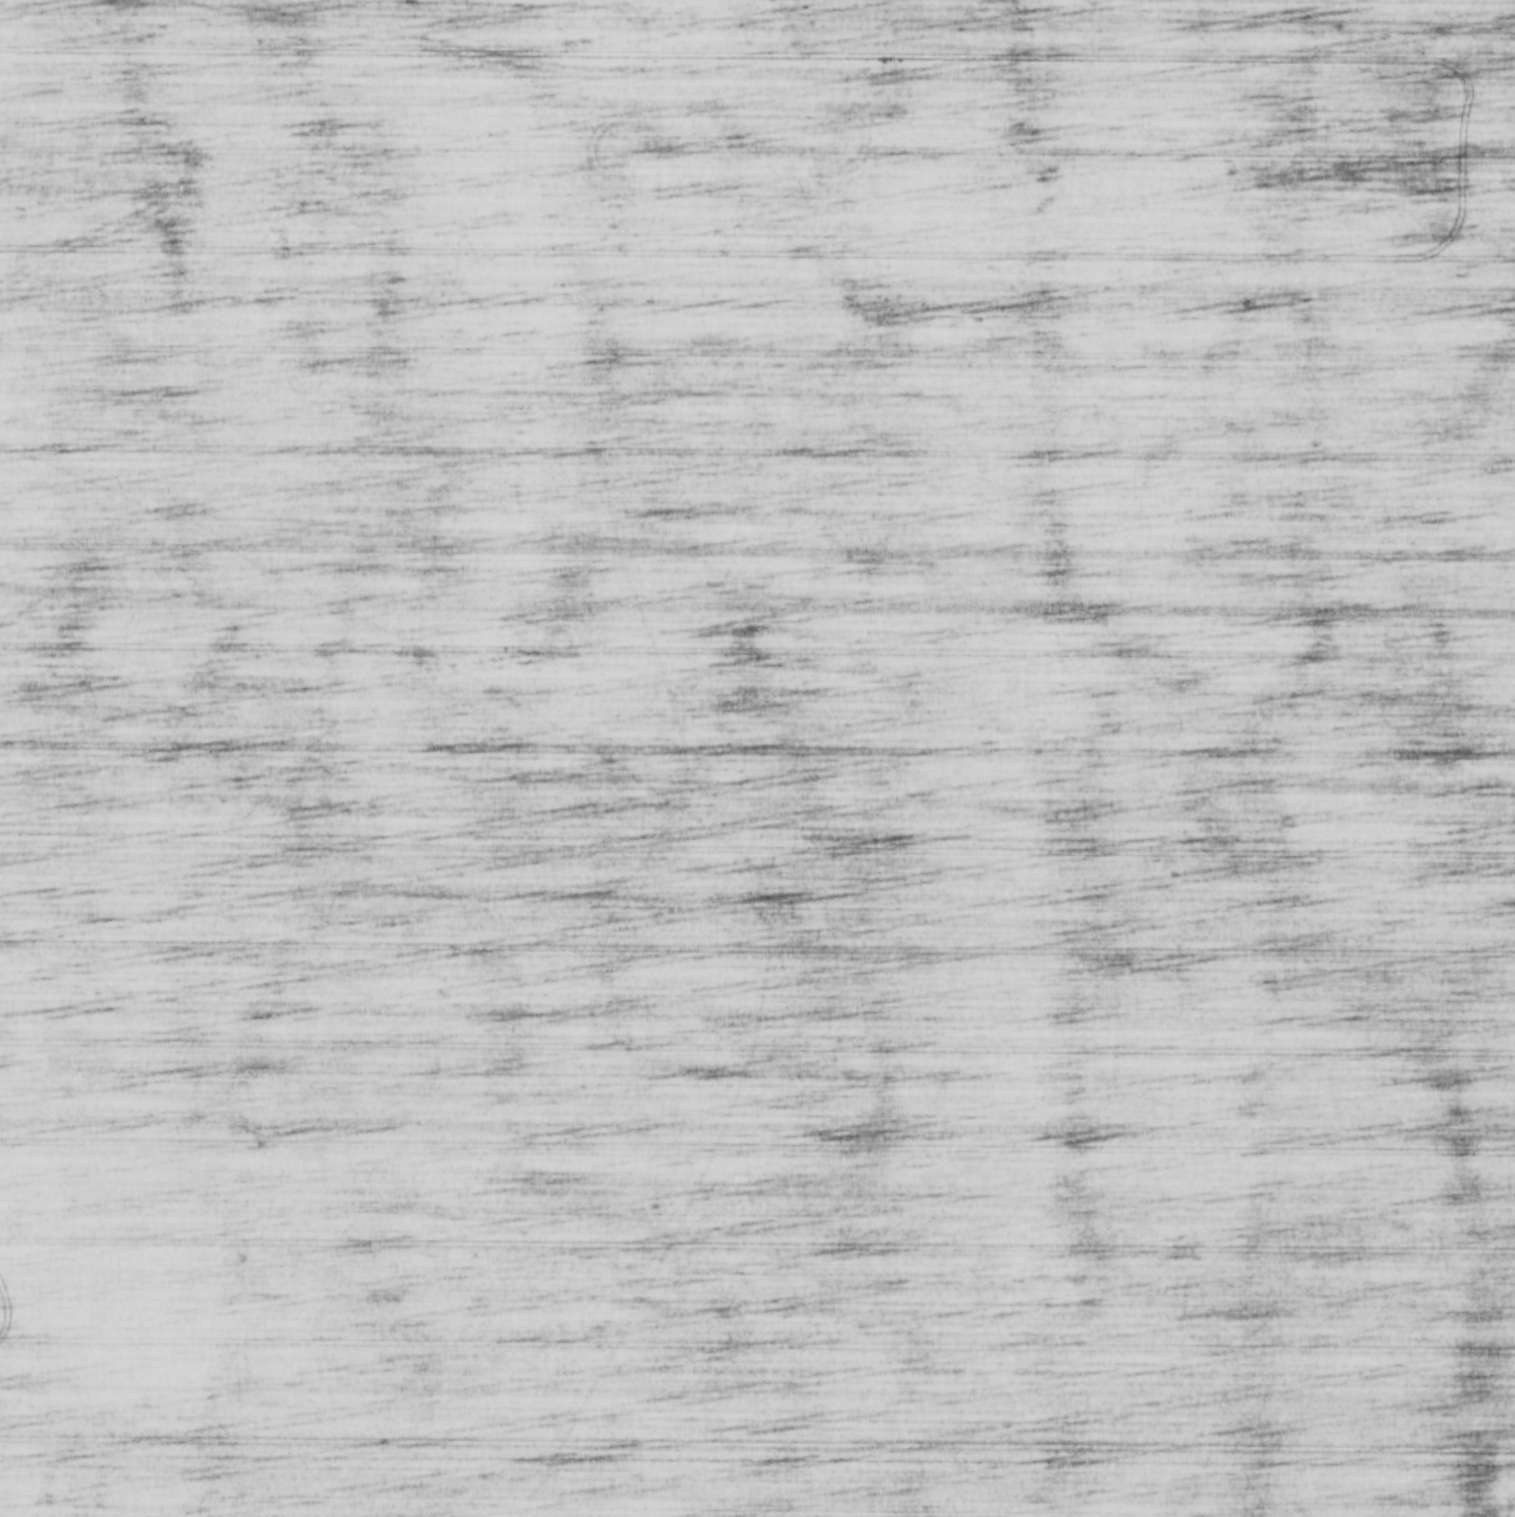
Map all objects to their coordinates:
crop: (757, 758)

